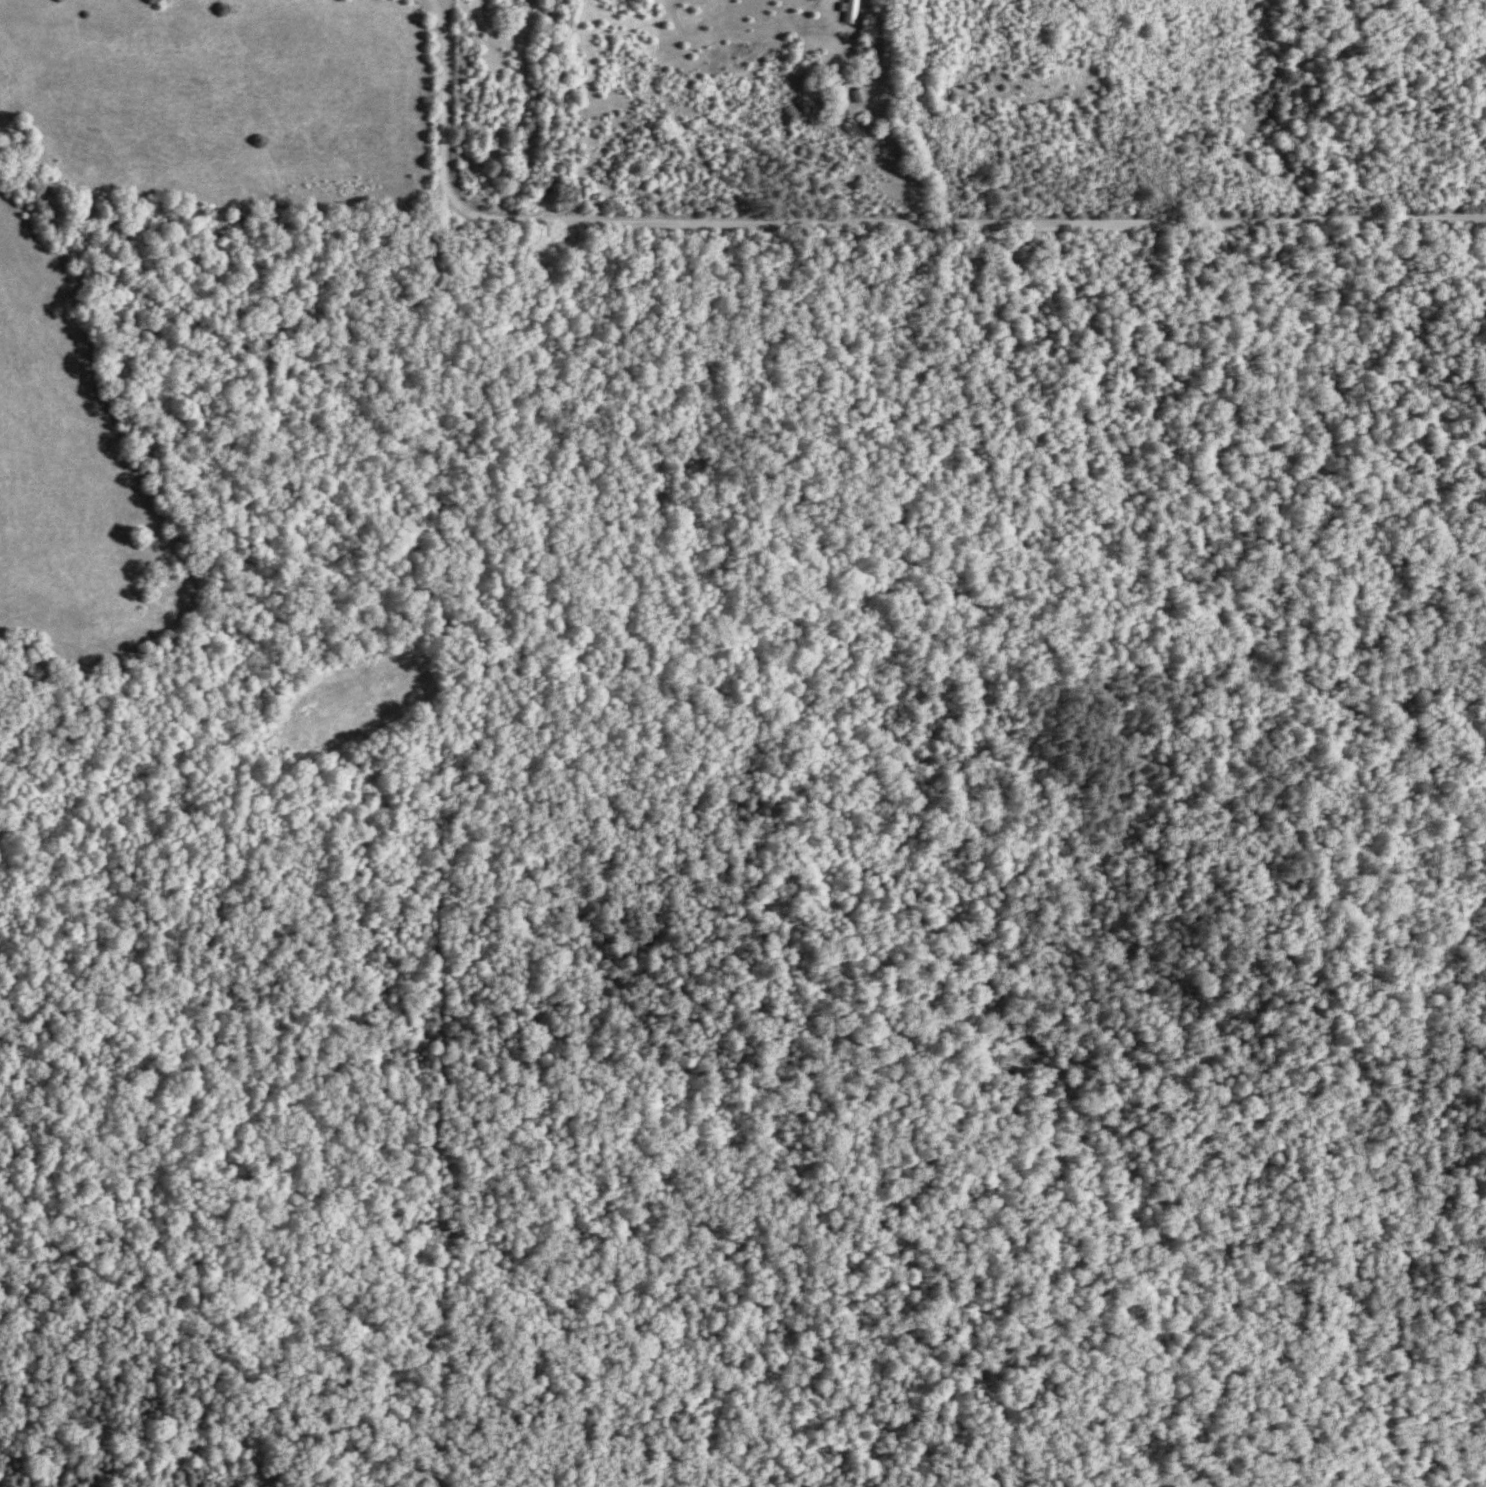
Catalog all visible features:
building: (855, 11)
road: (858, 223)
road: (438, 848)

